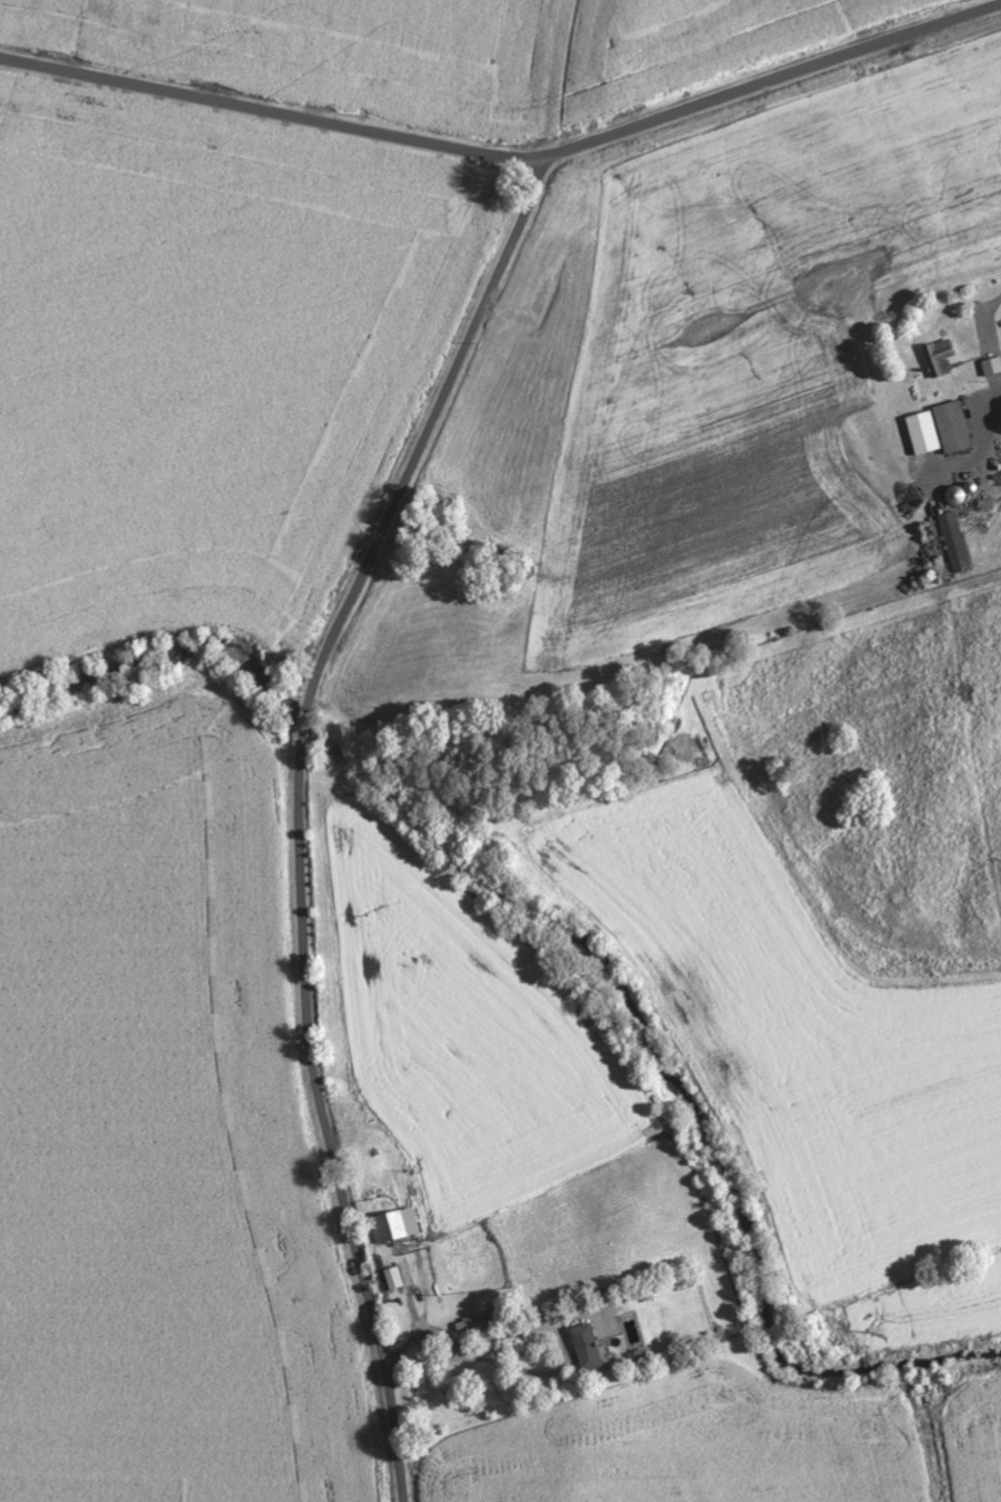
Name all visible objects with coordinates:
road: (508, 159)
road: (973, 296)
building: (940, 358)
building: (991, 367)
building: (941, 430)
building: (964, 493)
building: (956, 543)
building: (785, 624)
road: (300, 808)
building: (396, 1227)
building: (393, 1279)
building: (478, 1323)
building: (588, 1348)

